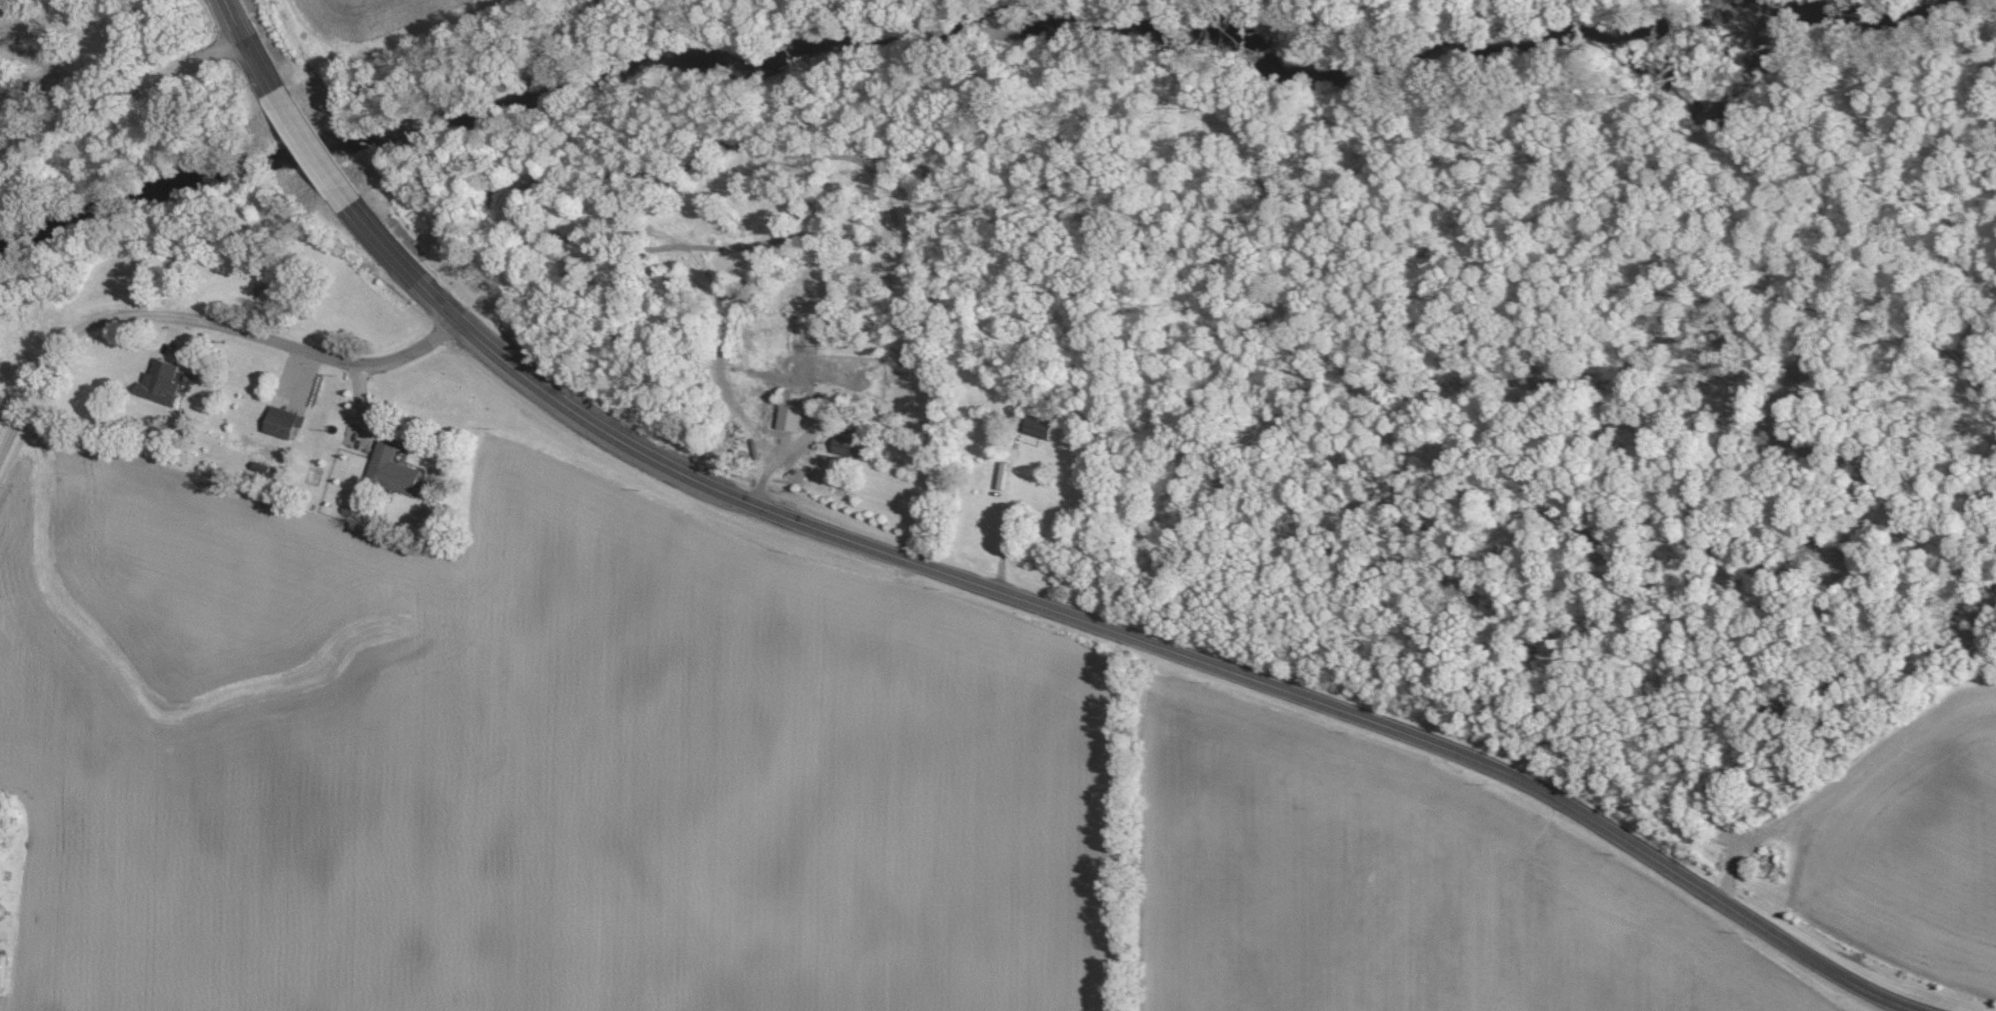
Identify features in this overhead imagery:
road: (123, 96)
road: (200, 321)
building: (163, 383)
building: (793, 412)
building: (286, 424)
building: (1041, 429)
building: (856, 449)
road: (788, 450)
building: (394, 472)
road: (1009, 588)

